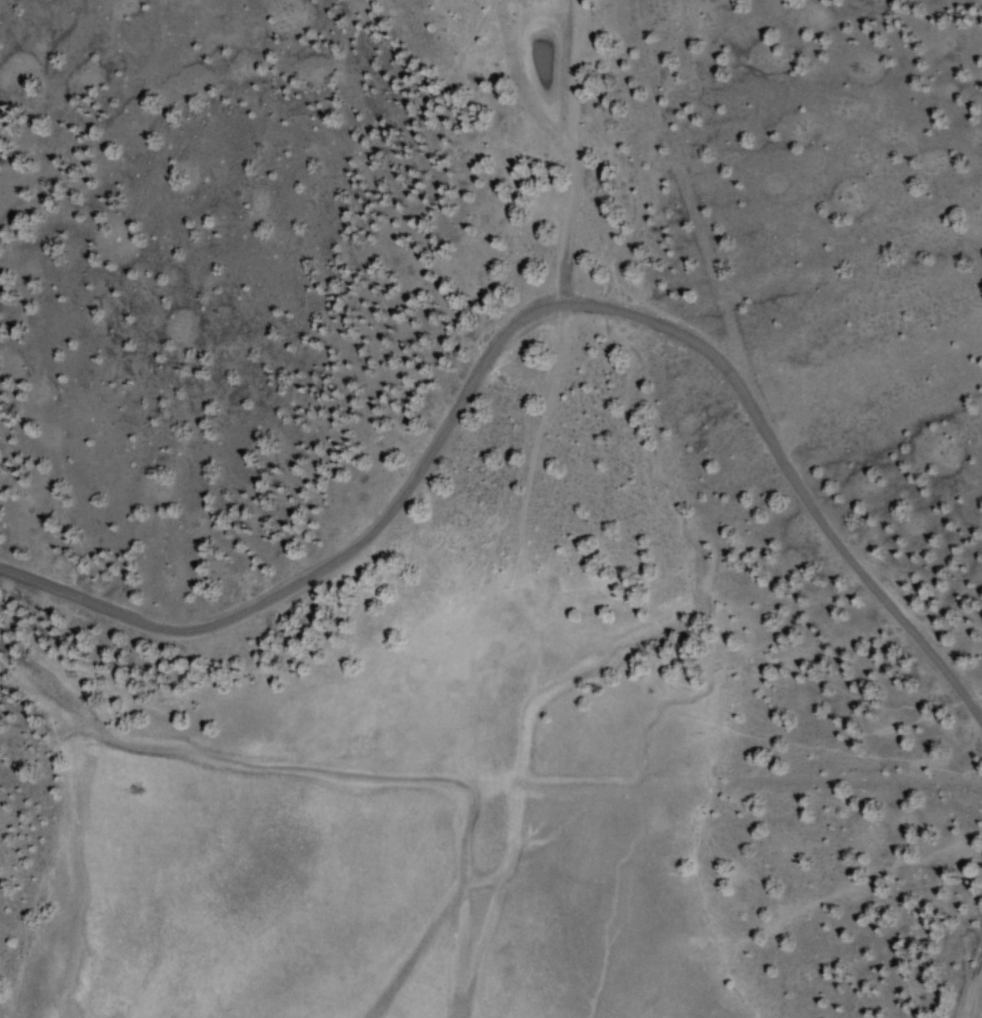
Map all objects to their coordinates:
road: (565, 295)
road: (521, 327)
road: (975, 995)

